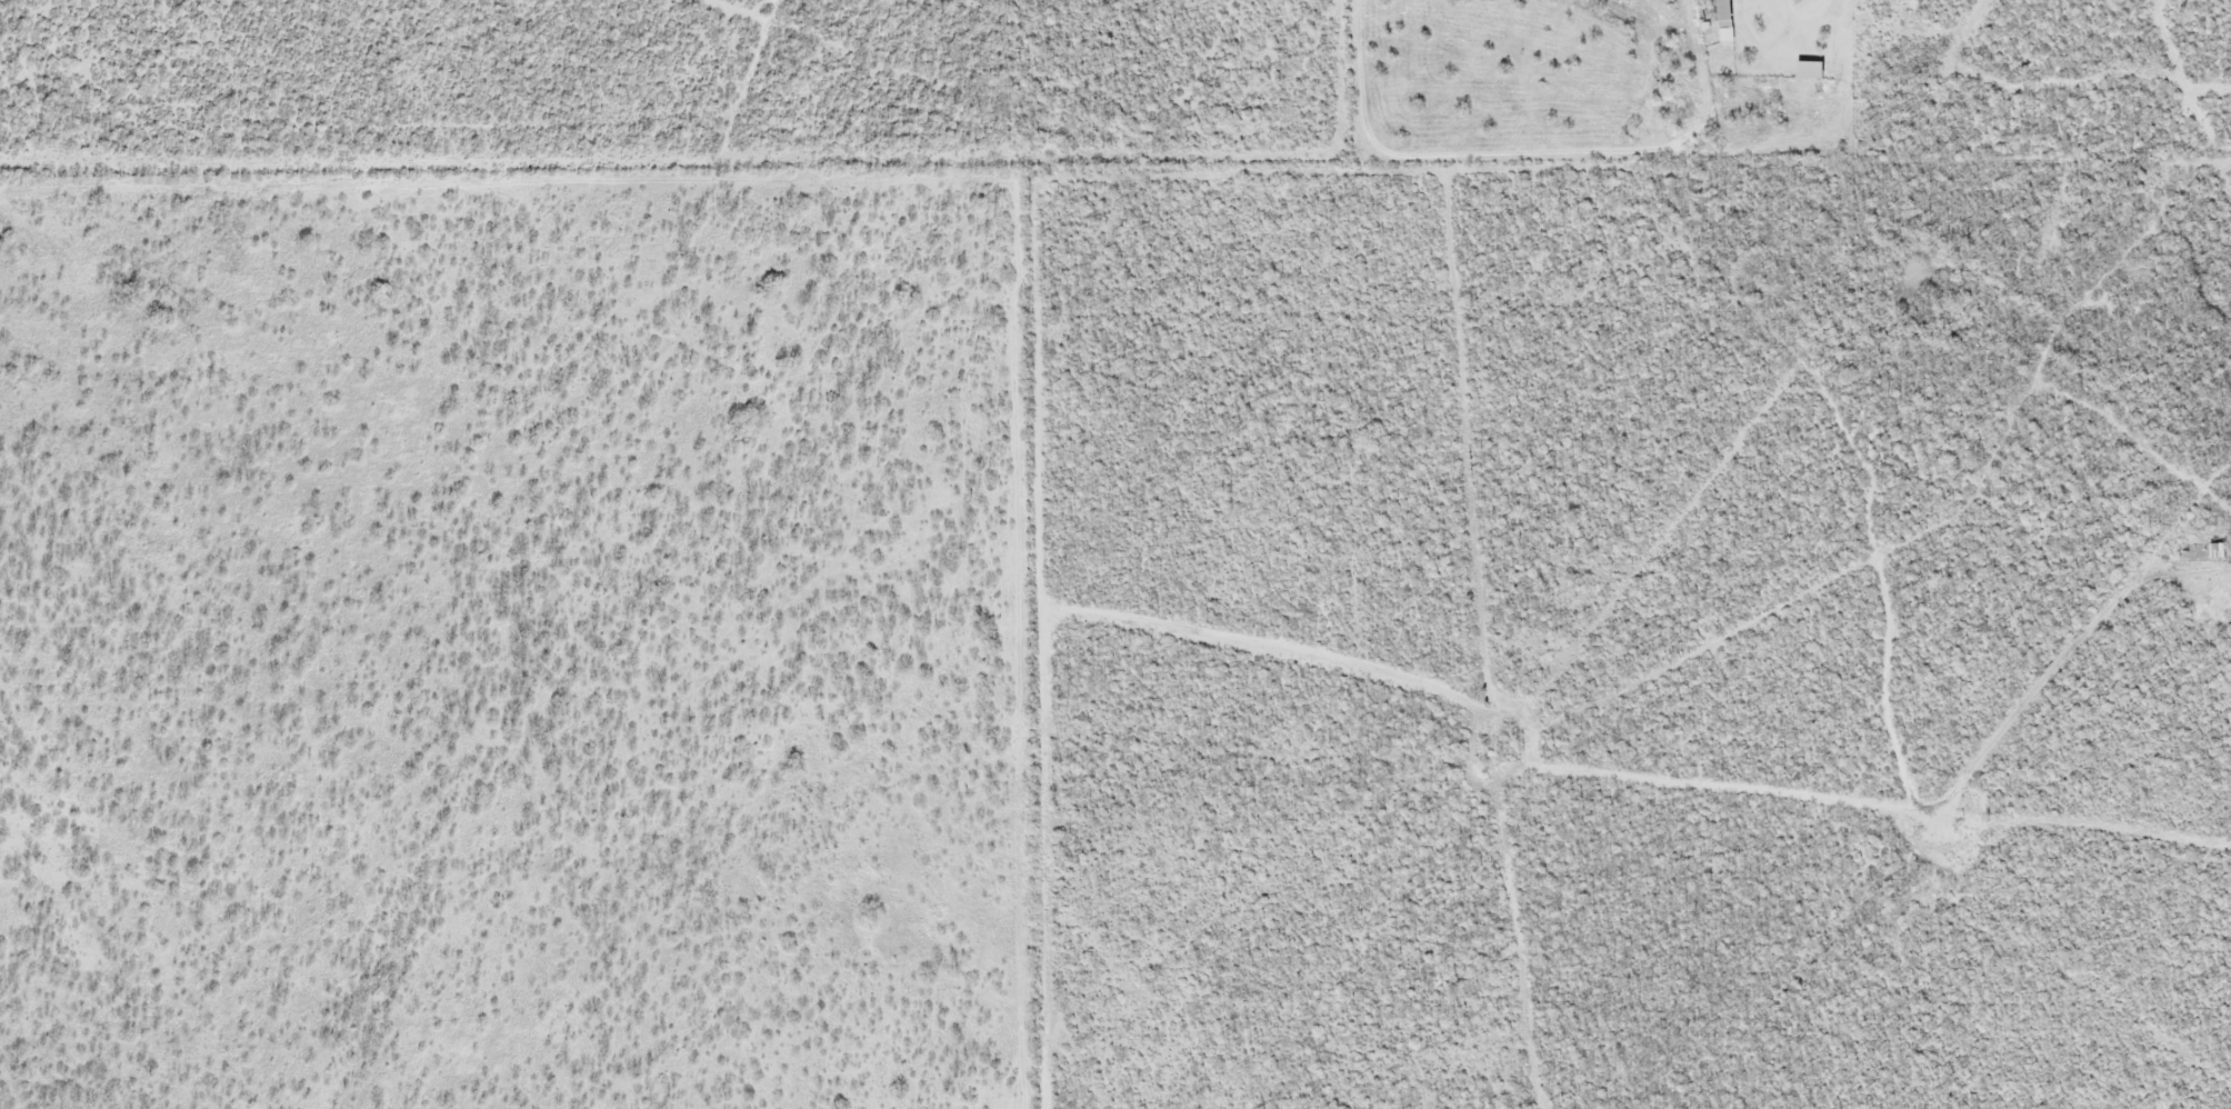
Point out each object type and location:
building: (1725, 10)

